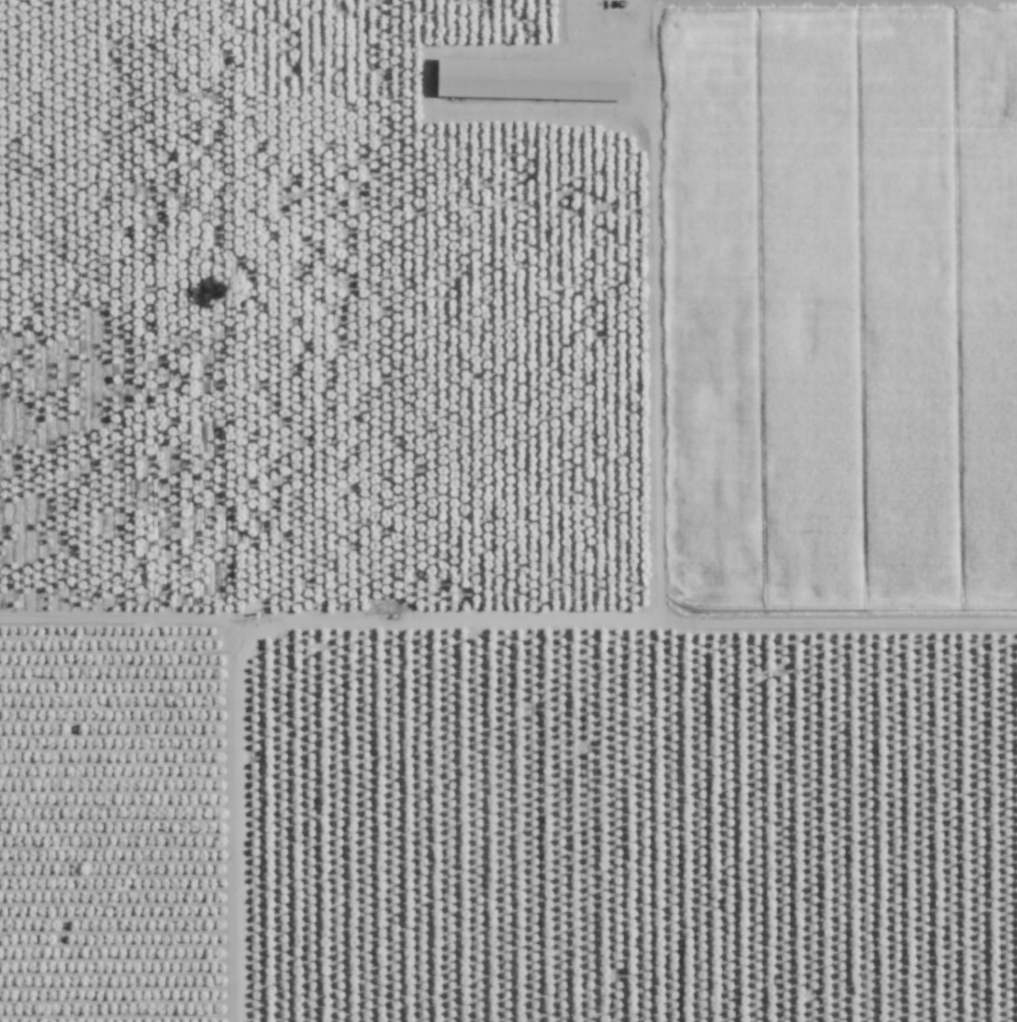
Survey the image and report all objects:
building: (536, 78)
crop: (113, 307)
crop: (443, 308)
crop: (838, 308)
crop: (508, 819)

